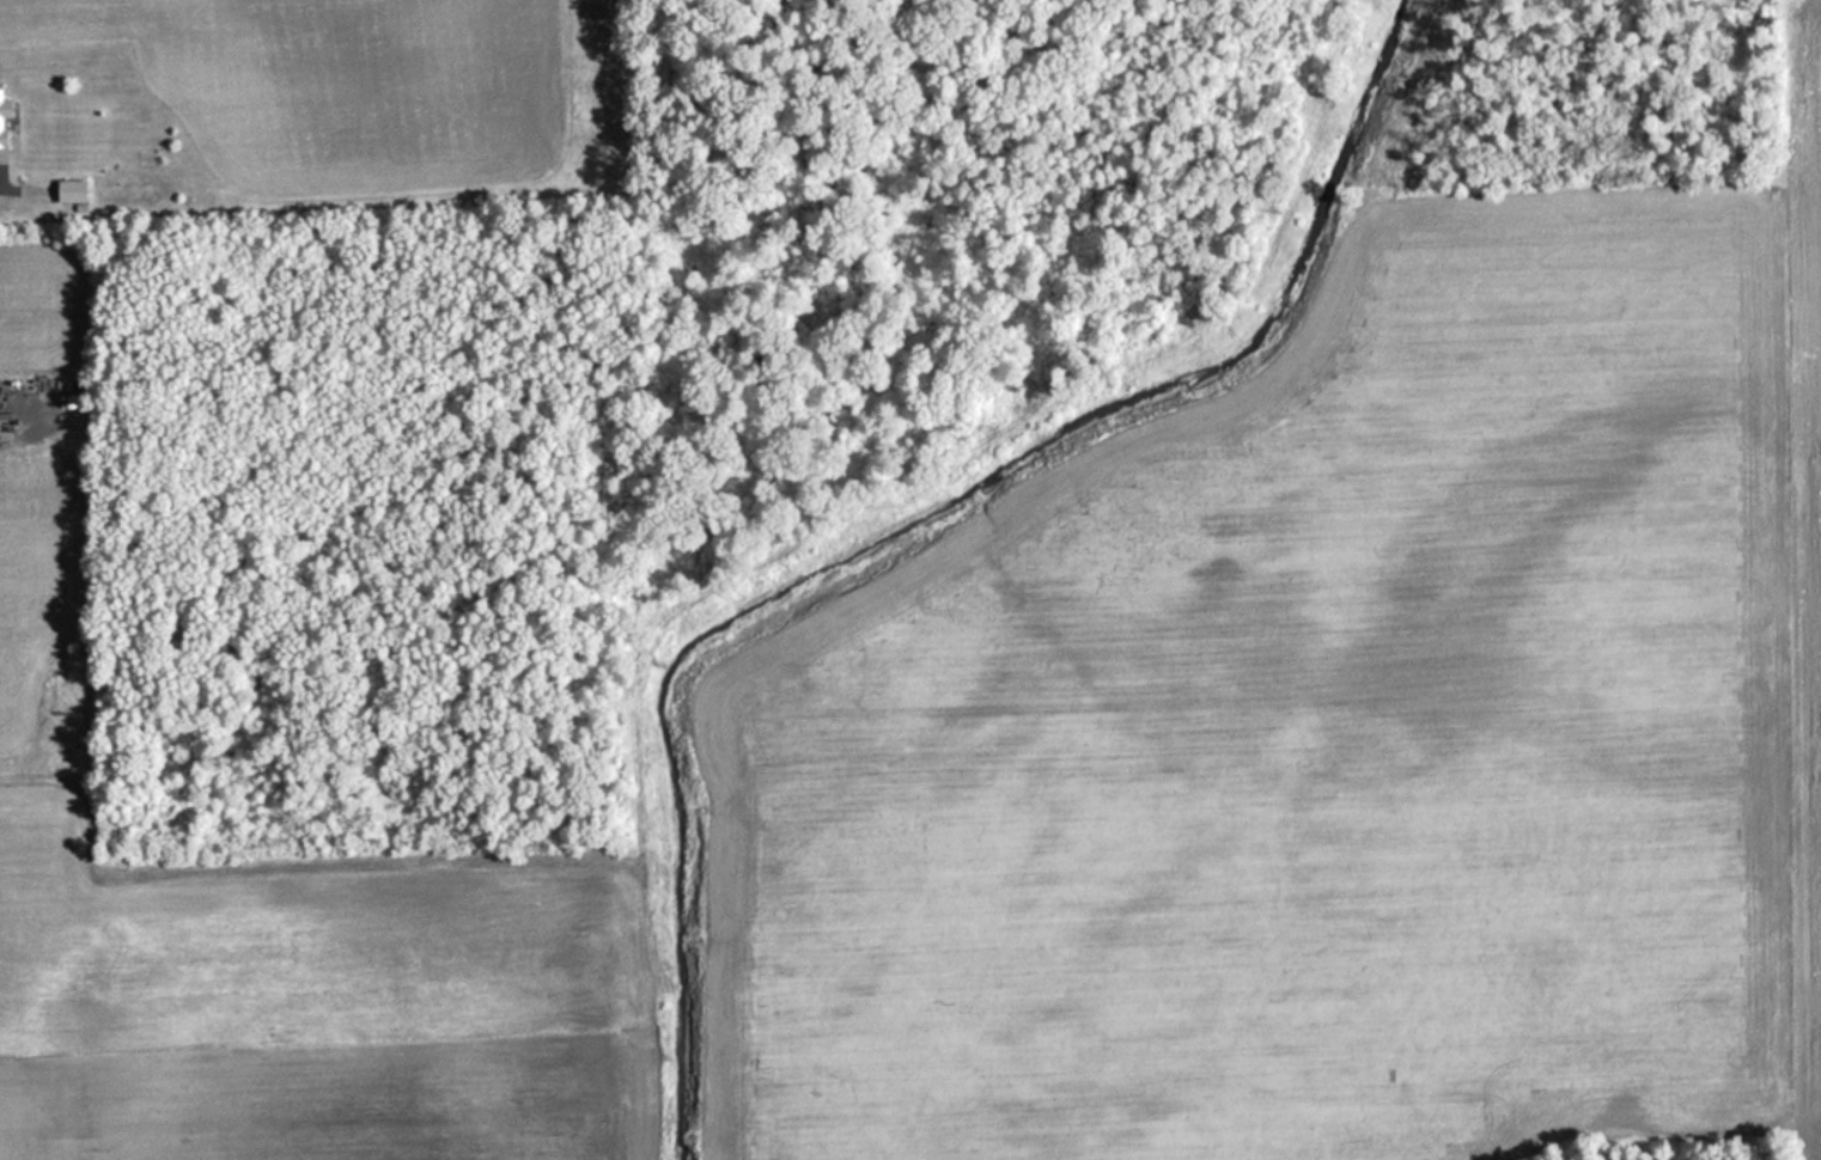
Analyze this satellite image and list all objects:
building: (4, 122)
building: (68, 193)

